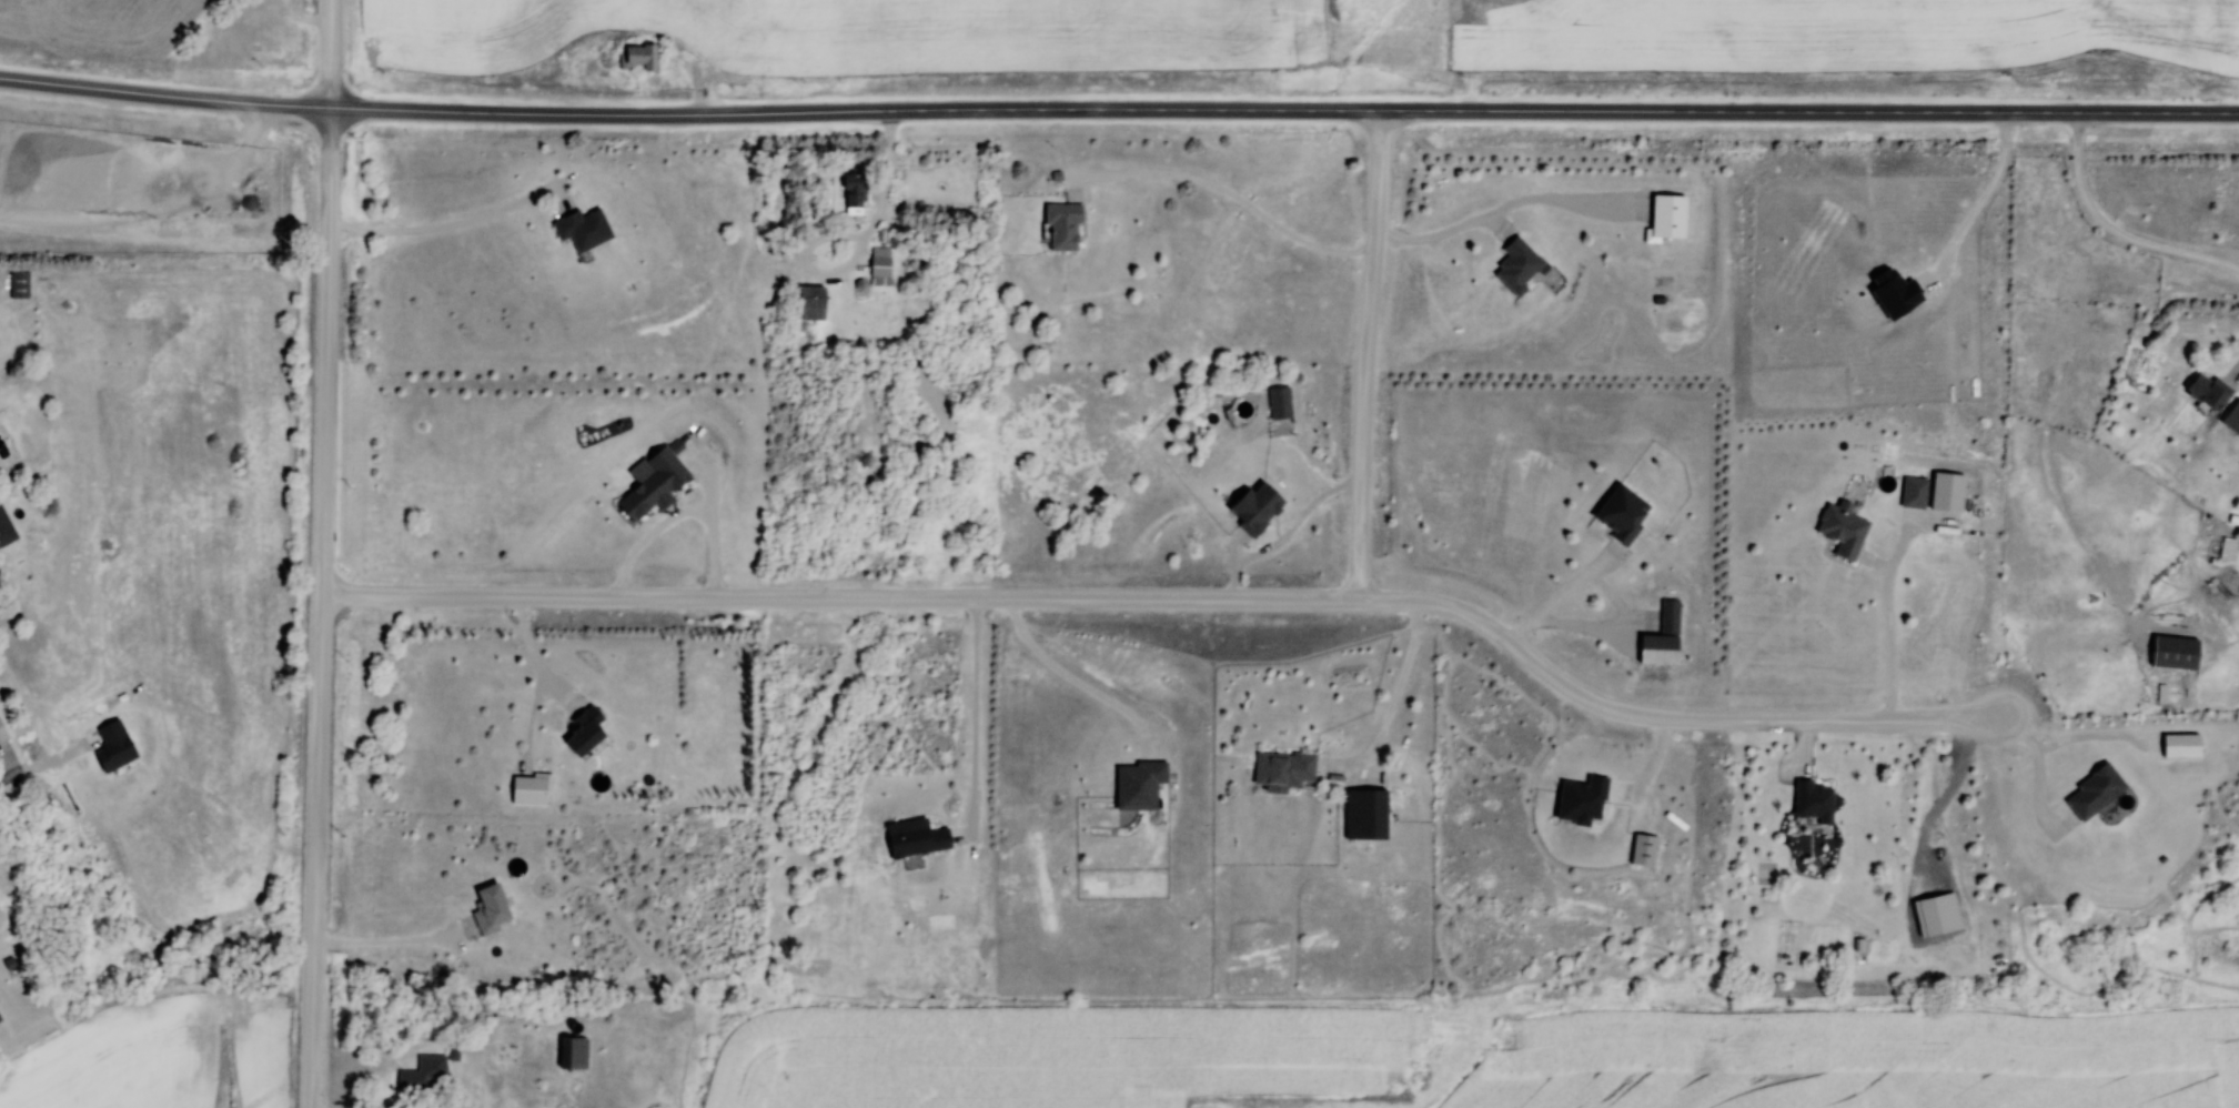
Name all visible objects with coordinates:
road: (326, 56)
building: (637, 58)
road: (108, 92)
road: (271, 108)
road: (1282, 110)
road: (326, 193)
building: (854, 194)
road: (1234, 195)
road: (1988, 195)
building: (1061, 226)
road: (438, 228)
building: (582, 229)
road: (2115, 231)
road: (1440, 236)
road: (860, 250)
building: (880, 262)
building: (1516, 266)
building: (19, 288)
building: (809, 303)
road: (1363, 355)
building: (2208, 391)
building: (1280, 412)
building: (2231, 417)
building: (654, 485)
building: (1913, 494)
building: (1254, 507)
building: (1621, 513)
building: (4, 530)
building: (1842, 531)
road: (1289, 536)
building: (2228, 548)
road: (1563, 595)
road: (1178, 600)
road: (321, 632)
road: (1890, 633)
road: (531, 653)
building: (2174, 654)
road: (1076, 682)
road: (1400, 685)
road: (976, 705)
building: (583, 732)
building: (2, 734)
building: (1282, 769)
road: (2040, 770)
road: (10, 776)
building: (1138, 786)
building: (2094, 794)
building: (1812, 803)
building: (1364, 815)
building: (916, 840)
road: (386, 944)
building: (503, 1015)
road: (312, 1048)
building: (506, 1052)
building: (572, 1054)
building: (413, 1081)
road: (470, 1100)

